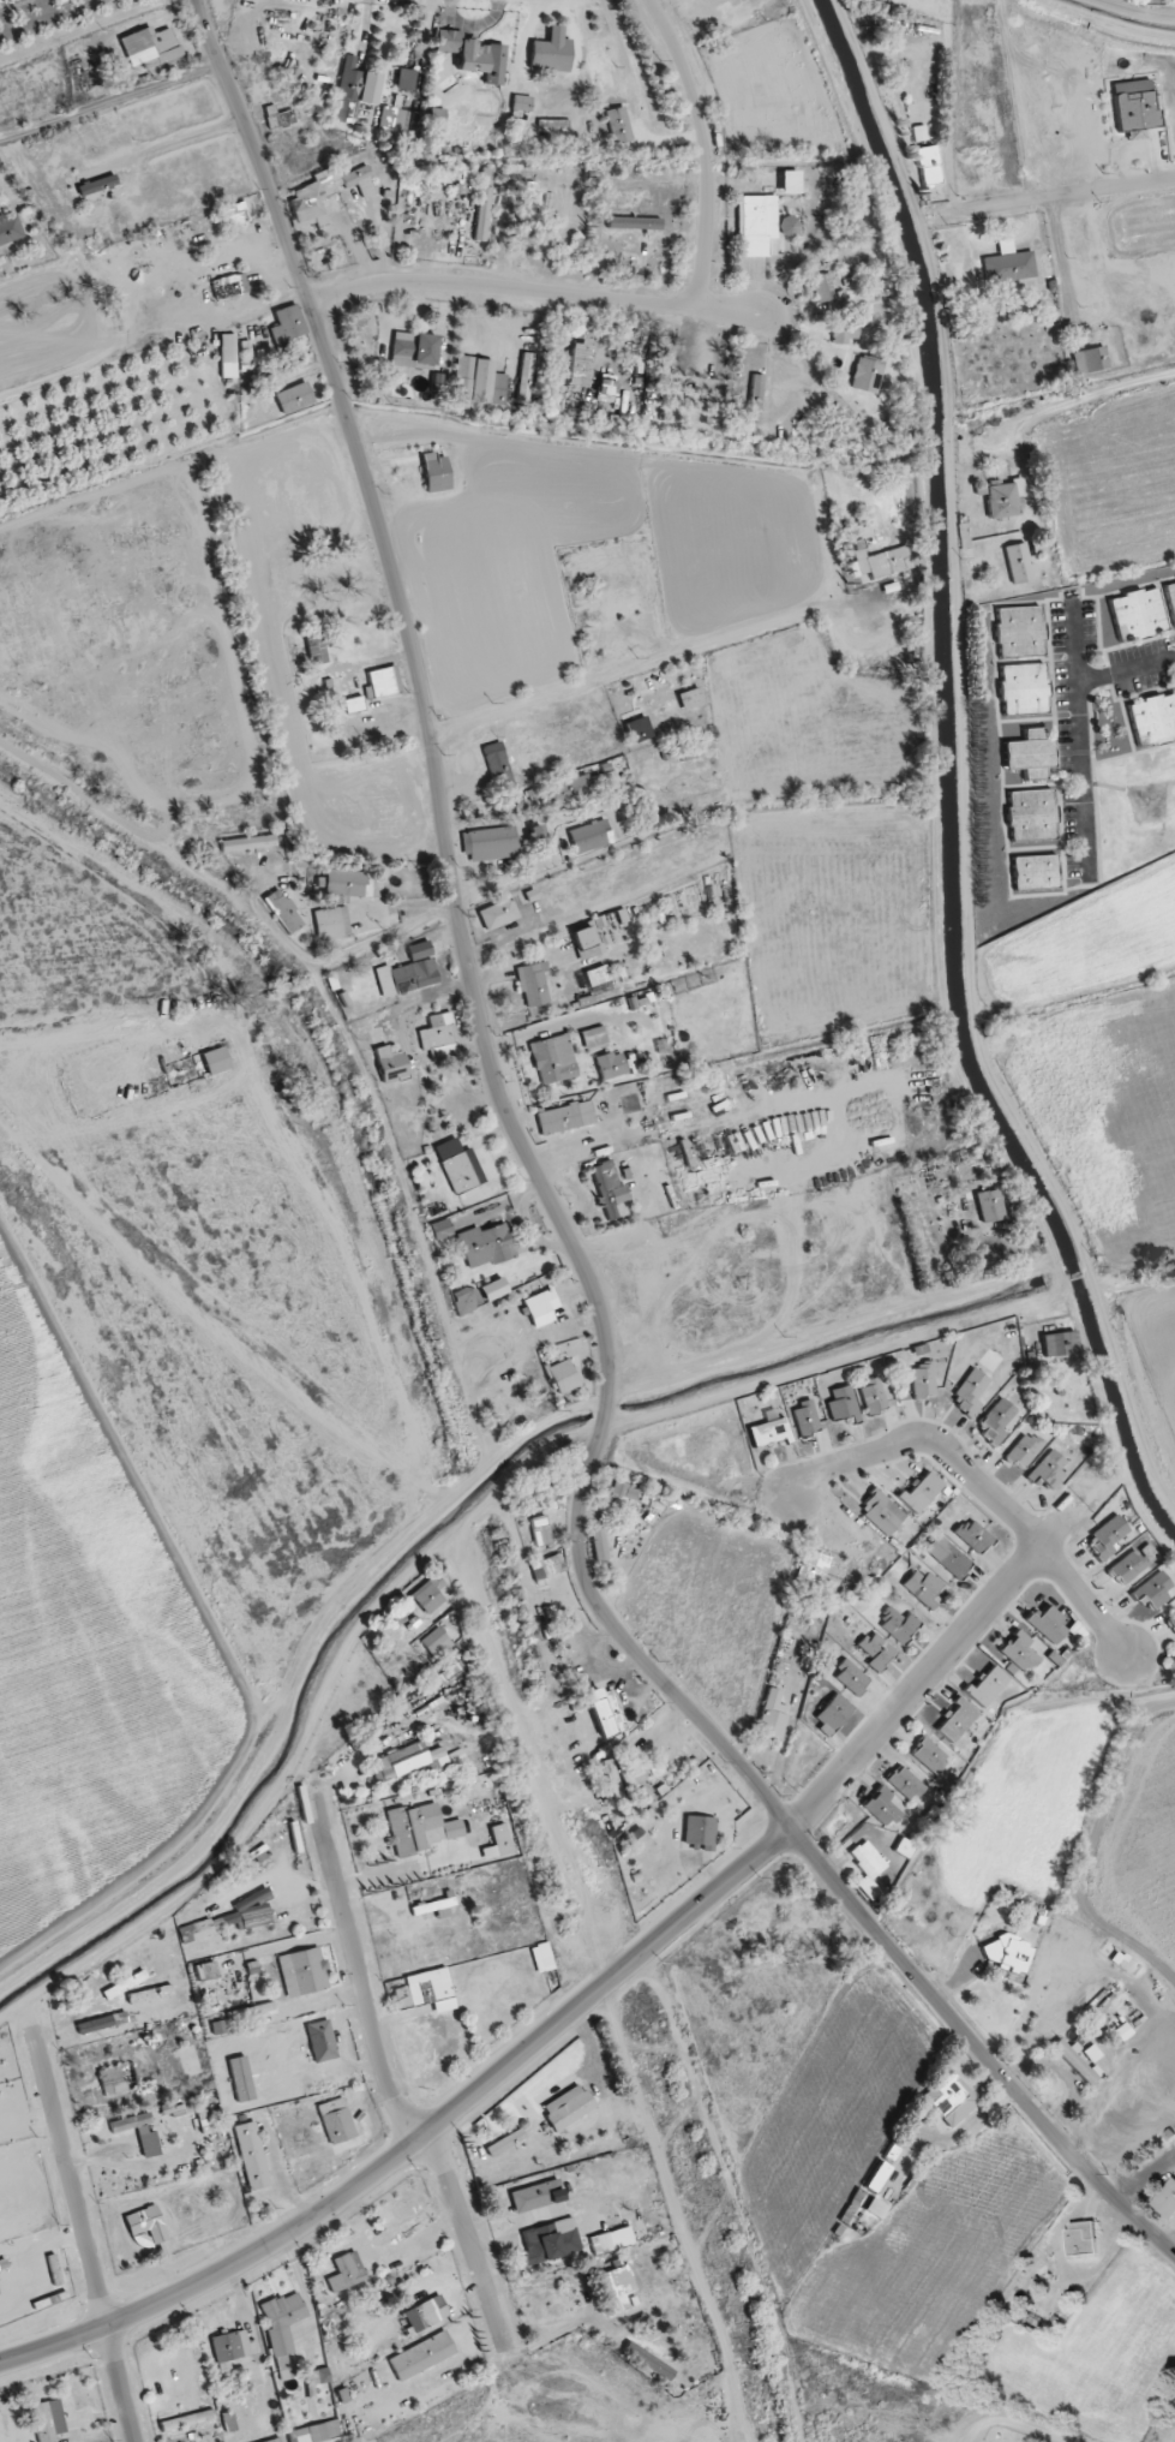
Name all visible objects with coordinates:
building: (60, 0)
road: (193, 6)
road: (26, 16)
road: (1030, 43)
building: (150, 47)
building: (551, 52)
building: (473, 55)
building: (406, 79)
building: (354, 90)
building: (522, 102)
building: (1135, 111)
building: (280, 119)
building: (394, 120)
building: (618, 125)
building: (919, 133)
road: (184, 135)
road: (705, 150)
building: (928, 166)
building: (790, 181)
building: (97, 185)
building: (324, 193)
road: (1061, 197)
building: (527, 205)
building: (238, 214)
building: (482, 214)
building: (634, 222)
building: (756, 223)
building: (790, 226)
building: (10, 229)
building: (1008, 264)
road: (1063, 270)
building: (229, 286)
building: (822, 287)
road: (536, 291)
building: (288, 324)
building: (845, 332)
building: (414, 350)
building: (228, 356)
building: (1090, 359)
building: (578, 365)
building: (664, 369)
building: (867, 374)
building: (524, 376)
building: (478, 382)
building: (606, 390)
building: (294, 398)
building: (755, 399)
building: (436, 473)
building: (1001, 496)
building: (882, 562)
building: (1019, 563)
building: (1170, 598)
building: (1138, 614)
building: (1020, 633)
building: (316, 650)
road: (671, 656)
road: (1129, 667)
building: (384, 681)
building: (1024, 688)
building: (690, 698)
building: (354, 704)
building: (1153, 720)
building: (639, 729)
building: (1030, 754)
building: (498, 765)
road: (1089, 775)
building: (684, 783)
building: (582, 787)
building: (1031, 814)
building: (536, 832)
building: (591, 836)
building: (248, 843)
building: (490, 843)
building: (1036, 872)
road: (502, 877)
building: (344, 883)
building: (283, 910)
building: (497, 914)
building: (331, 924)
building: (587, 935)
building: (407, 977)
building: (533, 985)
road: (691, 1021)
building: (439, 1037)
building: (594, 1037)
building: (553, 1059)
building: (216, 1061)
building: (390, 1064)
building: (611, 1065)
building: (565, 1117)
building: (458, 1172)
building: (609, 1188)
building: (989, 1206)
road: (558, 1216)
building: (442, 1229)
building: (486, 1246)
building: (493, 1289)
building: (467, 1300)
building: (540, 1306)
building: (1059, 1343)
building: (921, 1349)
building: (564, 1375)
building: (923, 1379)
building: (971, 1391)
building: (873, 1396)
building: (841, 1403)
building: (805, 1419)
building: (996, 1420)
building: (768, 1432)
building: (1024, 1450)
building: (1048, 1470)
road: (985, 1487)
building: (624, 1491)
building: (922, 1492)
road: (736, 1507)
building: (882, 1512)
building: (540, 1530)
building: (973, 1535)
building: (1108, 1536)
building: (599, 1545)
building: (948, 1556)
building: (1133, 1563)
building: (813, 1566)
building: (547, 1568)
building: (923, 1586)
building: (1108, 1590)
building: (1152, 1590)
building: (428, 1594)
building: (398, 1618)
building: (1173, 1620)
building: (898, 1624)
building: (1047, 1624)
building: (436, 1642)
building: (877, 1650)
building: (1020, 1652)
building: (445, 1674)
road: (924, 1676)
building: (852, 1678)
building: (987, 1685)
building: (605, 1712)
building: (832, 1713)
building: (772, 1714)
building: (955, 1720)
building: (930, 1757)
building: (407, 1761)
building: (621, 1780)
building: (905, 1783)
building: (881, 1807)
building: (421, 1827)
building: (700, 1832)
building: (904, 1847)
building: (868, 1858)
building: (427, 1907)
building: (247, 1912)
building: (196, 1931)
building: (1008, 1953)
building: (542, 1957)
building: (302, 1972)
building: (426, 1990)
building: (96, 2025)
building: (218, 2028)
building: (1122, 2031)
building: (320, 2041)
building: (1092, 2053)
building: (1074, 2061)
building: (240, 2079)
building: (112, 2080)
road: (389, 2080)
building: (951, 2098)
building: (568, 2107)
building: (336, 2120)
building: (139, 2132)
road: (421, 2137)
building: (505, 2142)
building: (251, 2155)
building: (877, 2177)
building: (536, 2196)
building: (1167, 2199)
building: (876, 2209)
building: (146, 2223)
building: (406, 2226)
road: (84, 2237)
building: (1083, 2239)
building: (611, 2240)
building: (550, 2241)
building: (346, 2271)
building: (617, 2287)
building: (427, 2312)
building: (282, 2321)
building: (229, 2348)
building: (421, 2356)
building: (648, 2360)
building: (323, 2375)
building: (48, 2420)
building: (186, 2420)
road: (1023, 2422)
building: (316, 2432)

